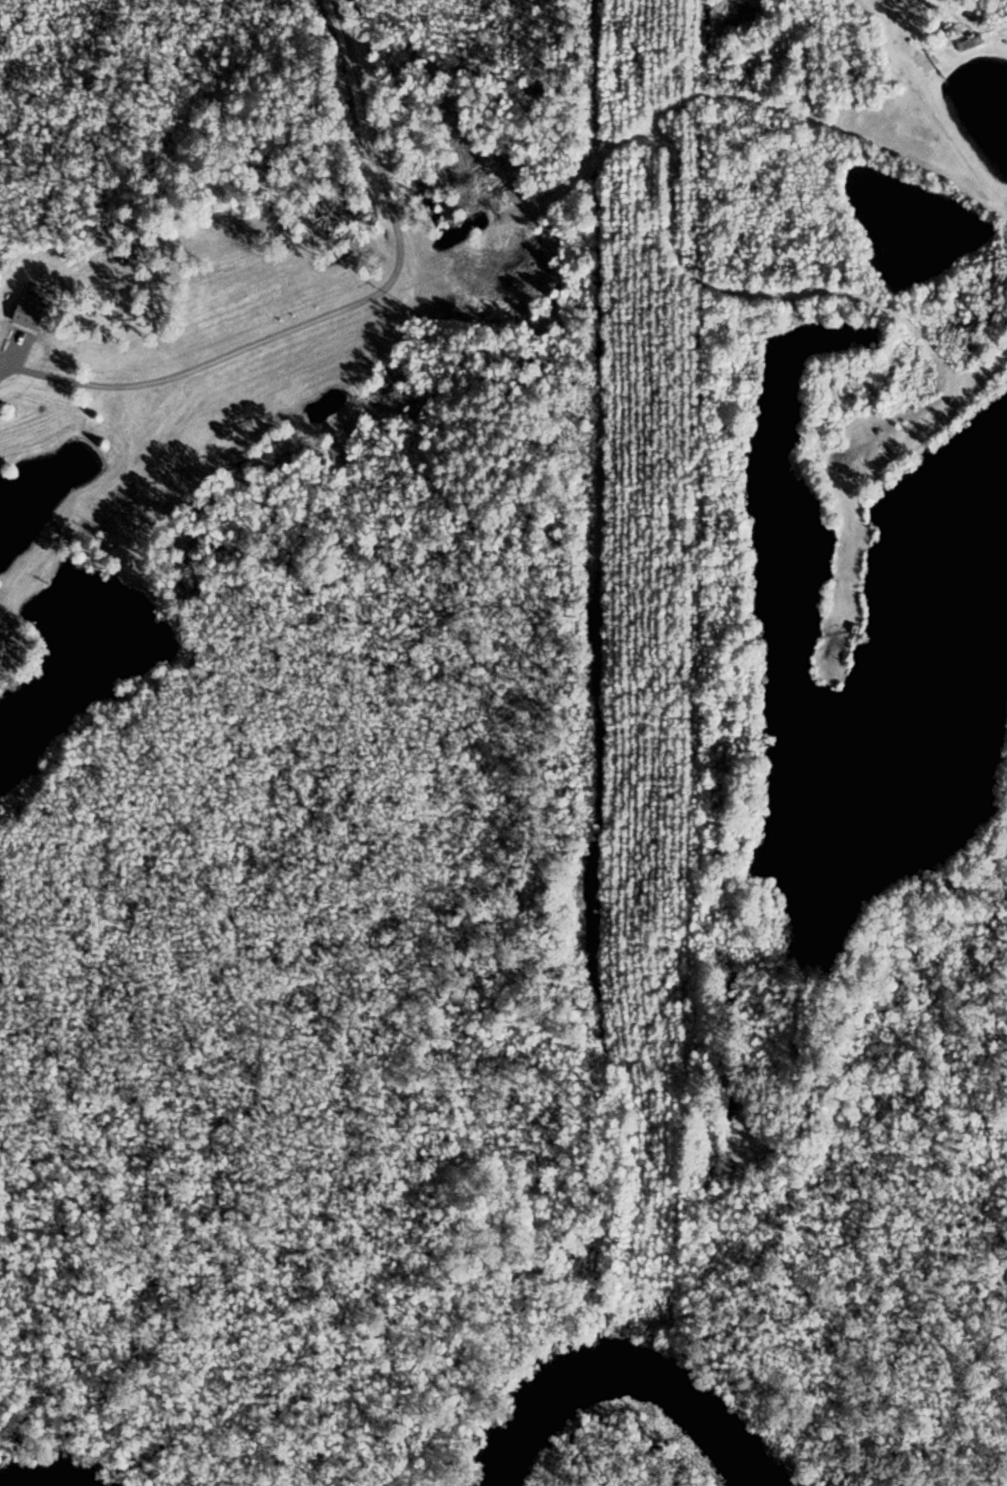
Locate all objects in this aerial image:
road: (360, 298)
building: (29, 313)
building: (1002, 588)

